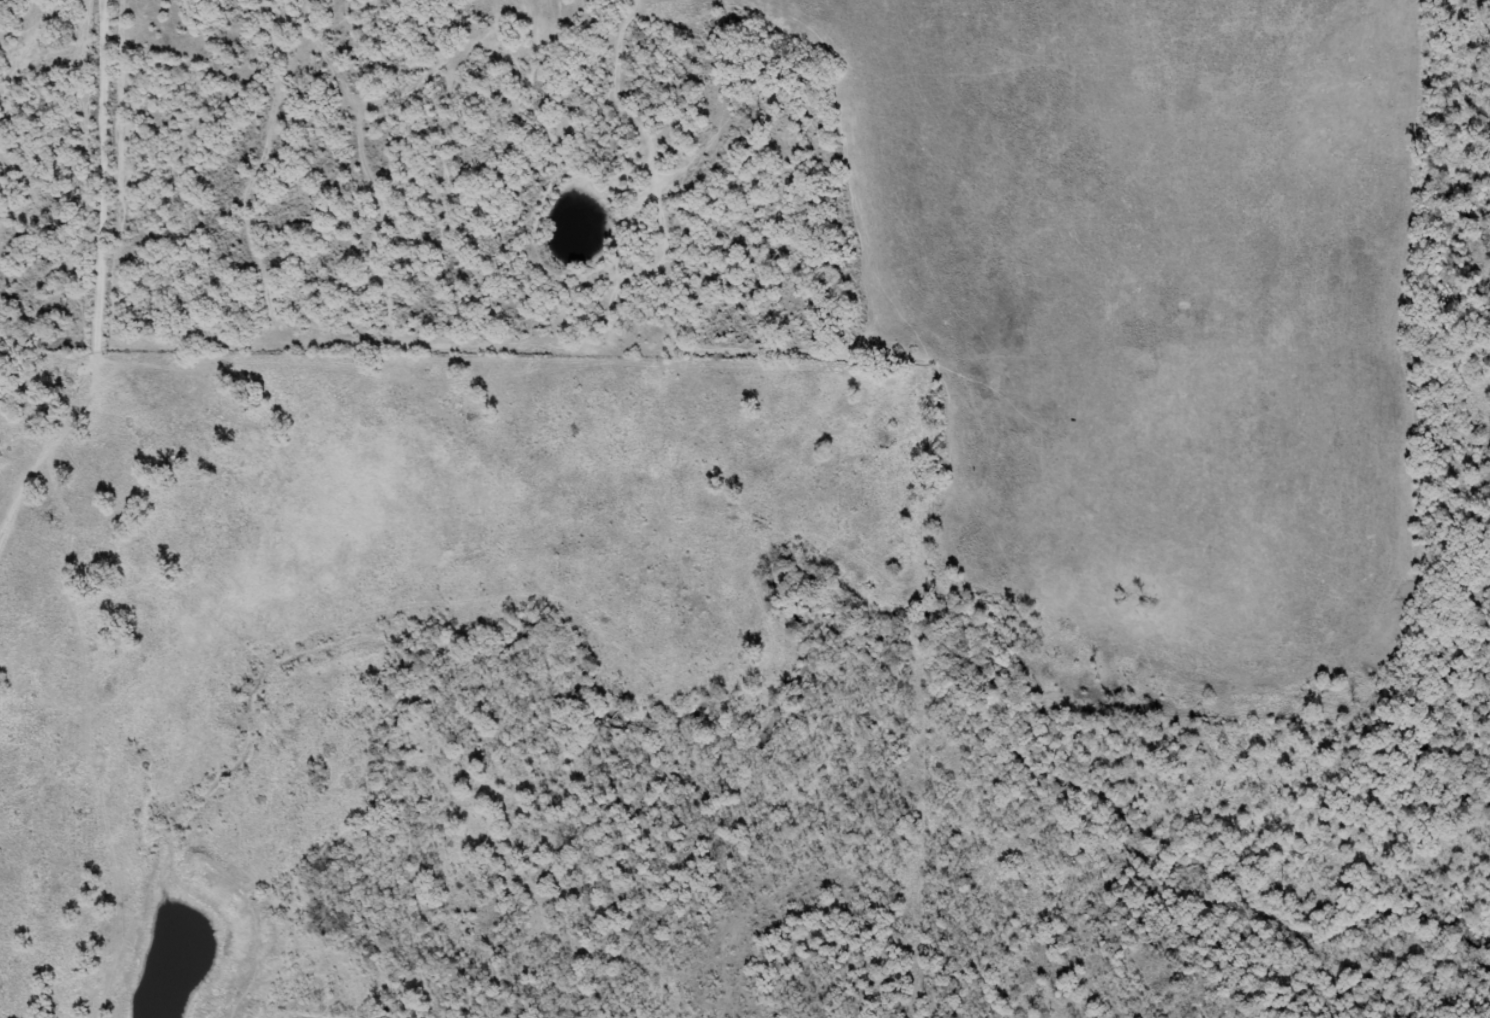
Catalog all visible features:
road: (600, 79)
road: (98, 330)

